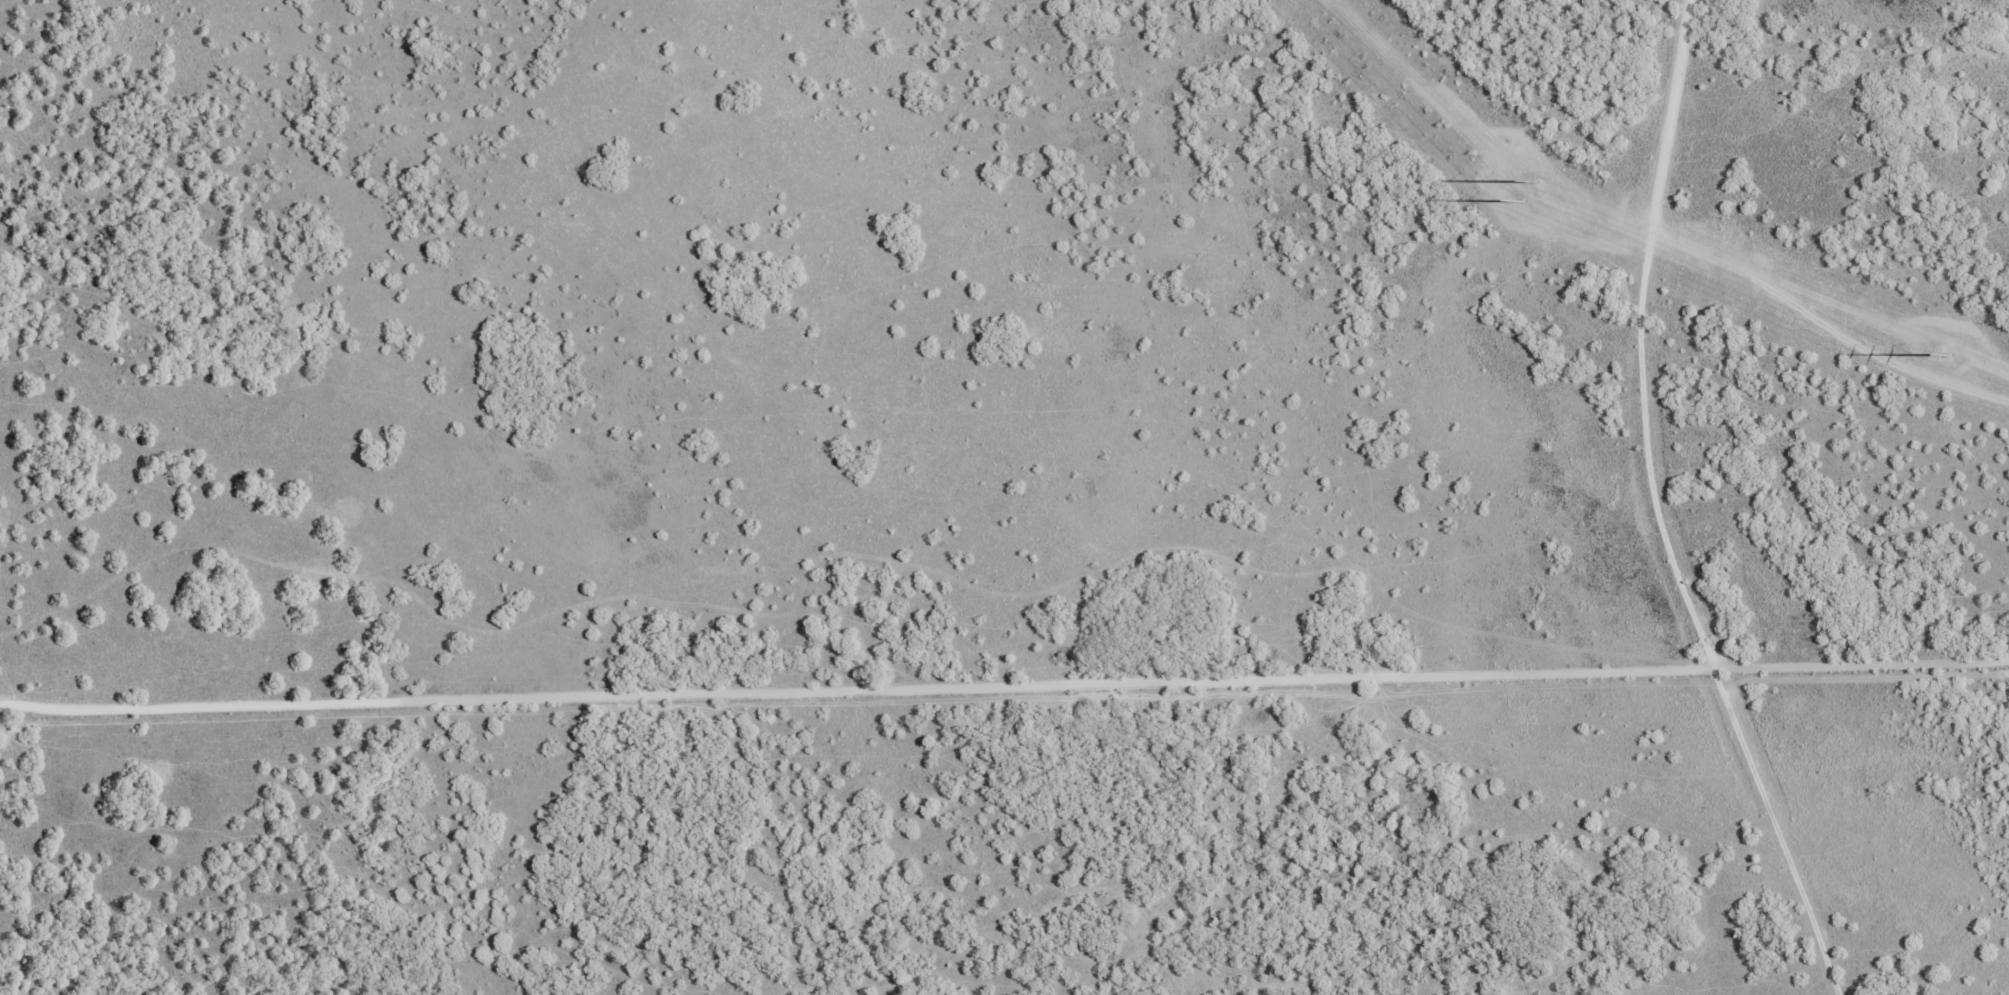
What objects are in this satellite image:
power tower: (1535, 204)
power tower: (1958, 358)

